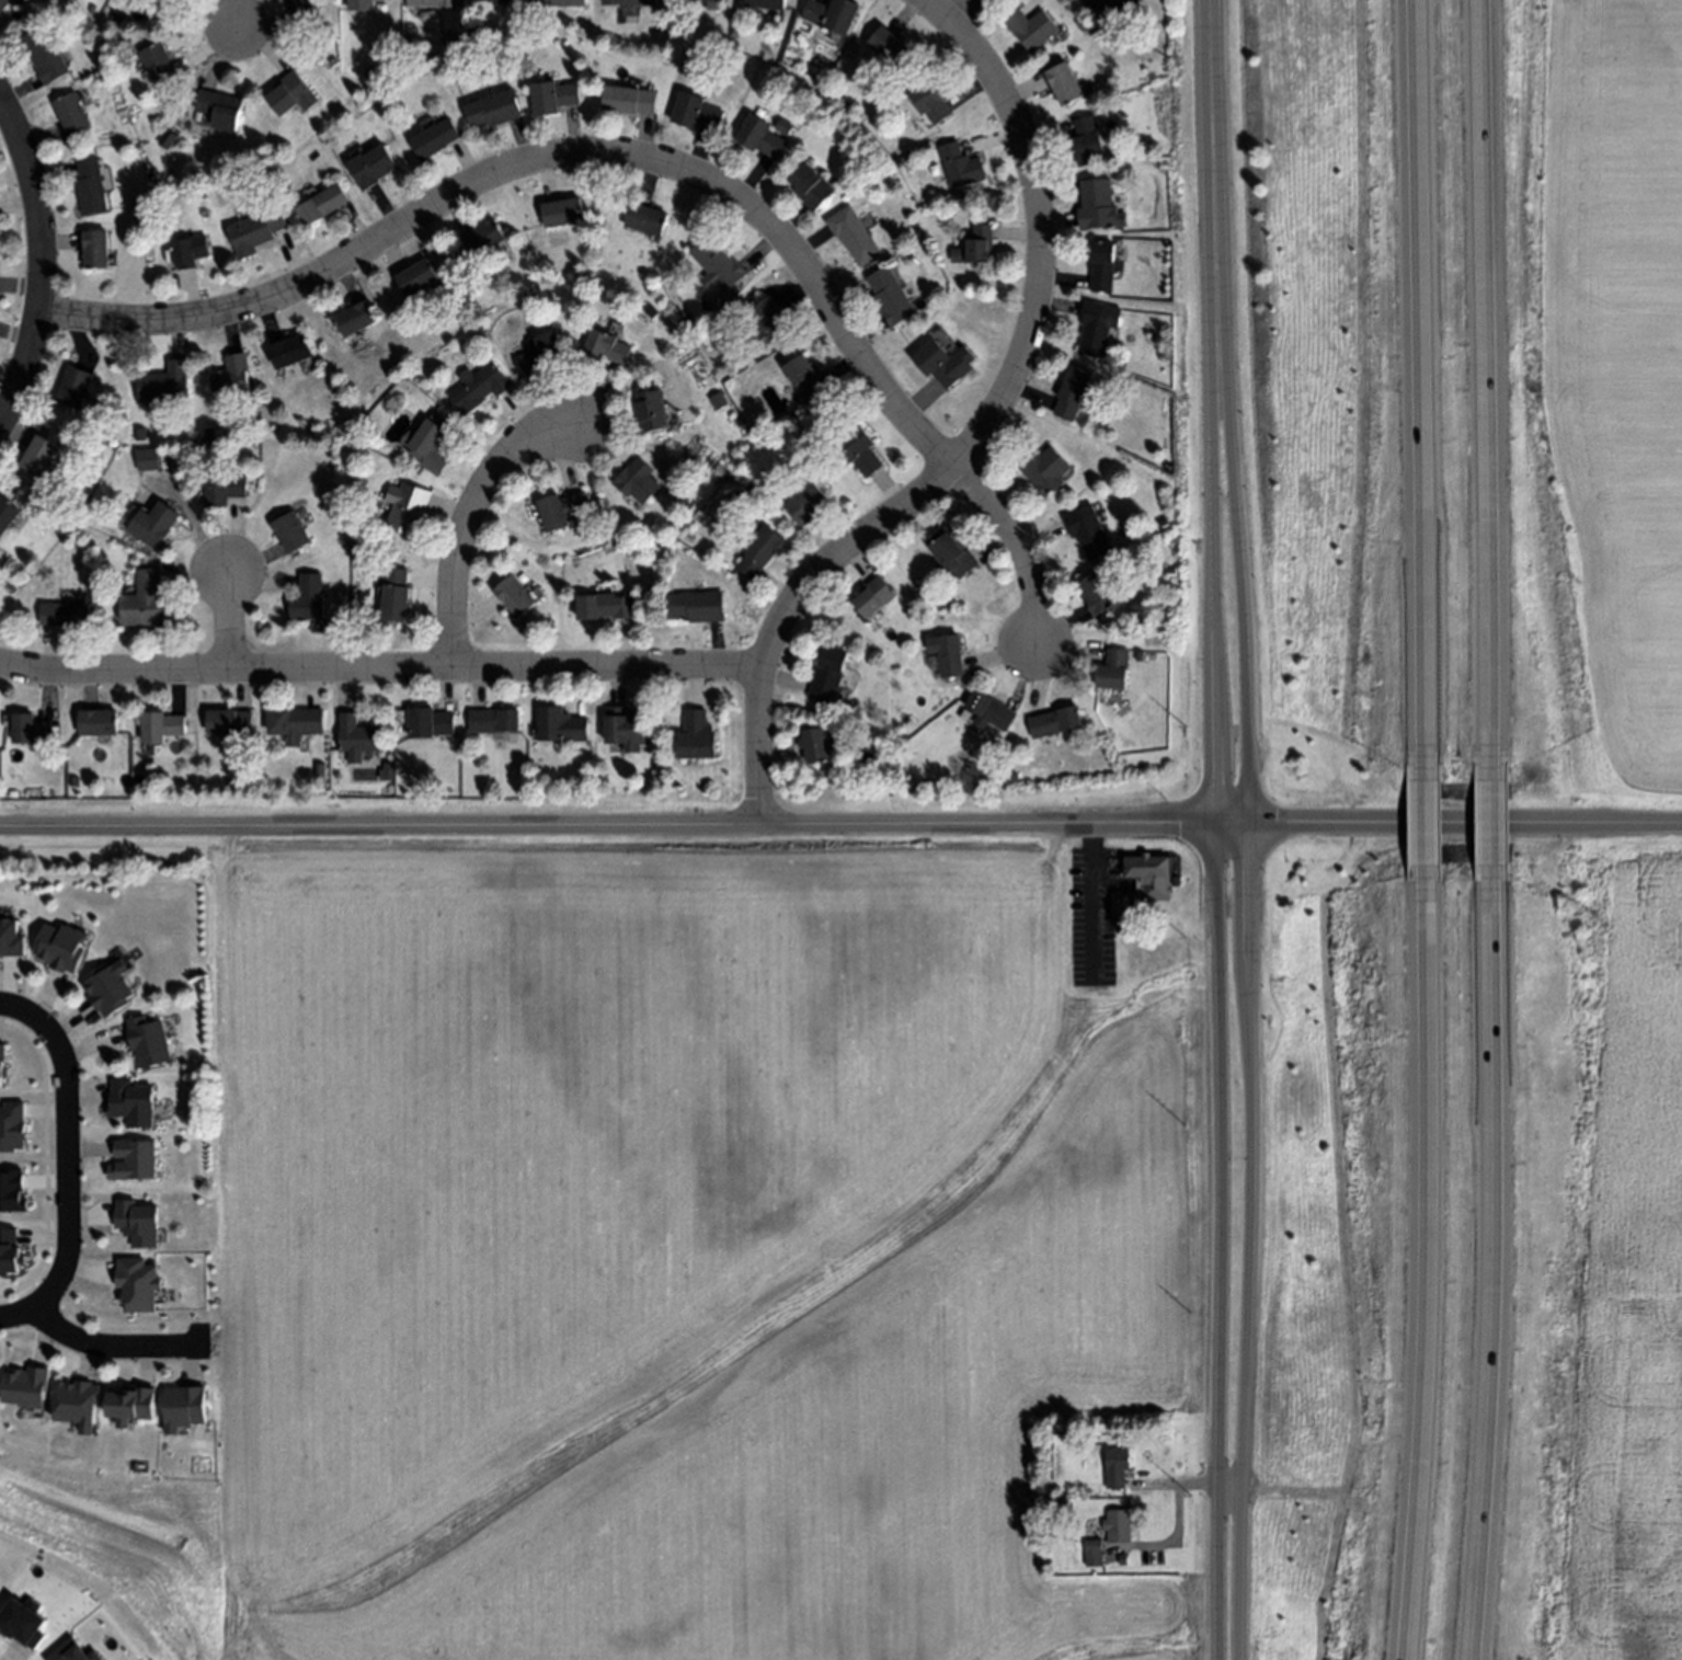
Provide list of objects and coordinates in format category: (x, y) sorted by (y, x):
building: (481, 0)
building: (170, 1)
building: (699, 1)
building: (434, 2)
building: (502, 2)
building: (628, 2)
building: (3, 3)
building: (557, 3)
building: (768, 3)
building: (359, 5)
building: (1113, 8)
road: (959, 10)
building: (302, 13)
building: (833, 14)
road: (238, 16)
building: (117, 18)
building: (1080, 23)
building: (1031, 28)
building: (448, 42)
building: (889, 47)
building: (45, 55)
building: (159, 64)
building: (1063, 83)
building: (290, 94)
building: (553, 96)
building: (631, 100)
building: (930, 100)
building: (219, 108)
building: (493, 110)
building: (696, 113)
building: (71, 114)
road: (1208, 124)
building: (783, 126)
building: (760, 137)
building: (433, 139)
building: (167, 140)
building: (1086, 140)
road: (542, 159)
building: (370, 167)
building: (960, 167)
building: (811, 186)
building: (89, 187)
building: (321, 204)
building: (1098, 206)
building: (562, 211)
building: (647, 219)
building: (255, 232)
building: (853, 234)
building: (482, 238)
building: (975, 247)
building: (94, 249)
building: (188, 251)
road: (18, 261)
road: (41, 262)
building: (718, 265)
building: (1102, 265)
building: (415, 278)
building: (890, 297)
building: (652, 310)
building: (355, 318)
building: (770, 321)
building: (1097, 327)
building: (607, 348)
building: (290, 352)
building: (541, 353)
building: (946, 360)
building: (806, 377)
building: (232, 379)
road: (1410, 381)
building: (164, 385)
building: (479, 387)
building: (73, 388)
road: (1487, 388)
building: (1072, 391)
building: (651, 410)
building: (211, 432)
road: (975, 434)
building: (432, 444)
building: (859, 450)
building: (37, 456)
building: (182, 457)
building: (157, 460)
building: (1044, 471)
building: (638, 481)
building: (221, 490)
building: (684, 502)
building: (806, 504)
building: (409, 507)
building: (561, 511)
building: (7, 514)
building: (1162, 522)
road: (468, 523)
building: (155, 525)
building: (293, 531)
building: (1088, 531)
road: (1017, 541)
building: (760, 551)
building: (953, 552)
building: (9, 591)
building: (1097, 594)
building: (398, 595)
building: (515, 595)
building: (873, 596)
building: (310, 598)
building: (148, 603)
building: (697, 606)
building: (605, 607)
building: (66, 615)
road: (231, 625)
building: (947, 655)
road: (380, 671)
building: (1113, 671)
building: (829, 674)
building: (989, 711)
building: (494, 721)
building: (230, 722)
building: (1055, 722)
building: (98, 723)
building: (295, 723)
building: (430, 723)
building: (560, 725)
building: (161, 726)
building: (625, 729)
building: (28, 730)
building: (697, 736)
building: (357, 739)
building: (815, 745)
building: (321, 770)
building: (1012, 778)
building: (73, 780)
building: (138, 780)
road: (1417, 825)
road: (840, 827)
road: (1494, 831)
building: (1149, 874)
building: (1120, 902)
road: (1245, 953)
road: (1216, 954)
building: (150, 1040)
road: (65, 1164)
building: (136, 1225)
crop: (684, 1249)
road: (1494, 1272)
road: (1418, 1273)
building: (135, 1287)
road: (111, 1349)
building: (181, 1412)
building: (1117, 1468)
building: (1118, 1525)
park: (125, 1546)
building: (1094, 1554)
building: (1122, 1559)

